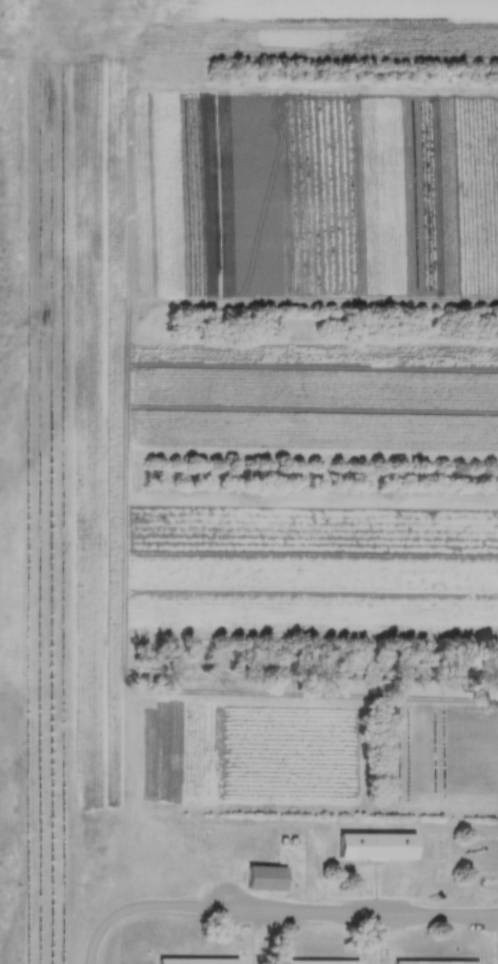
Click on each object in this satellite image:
building: (373, 845)
building: (262, 876)
building: (186, 960)
building: (310, 962)
building: (433, 962)

